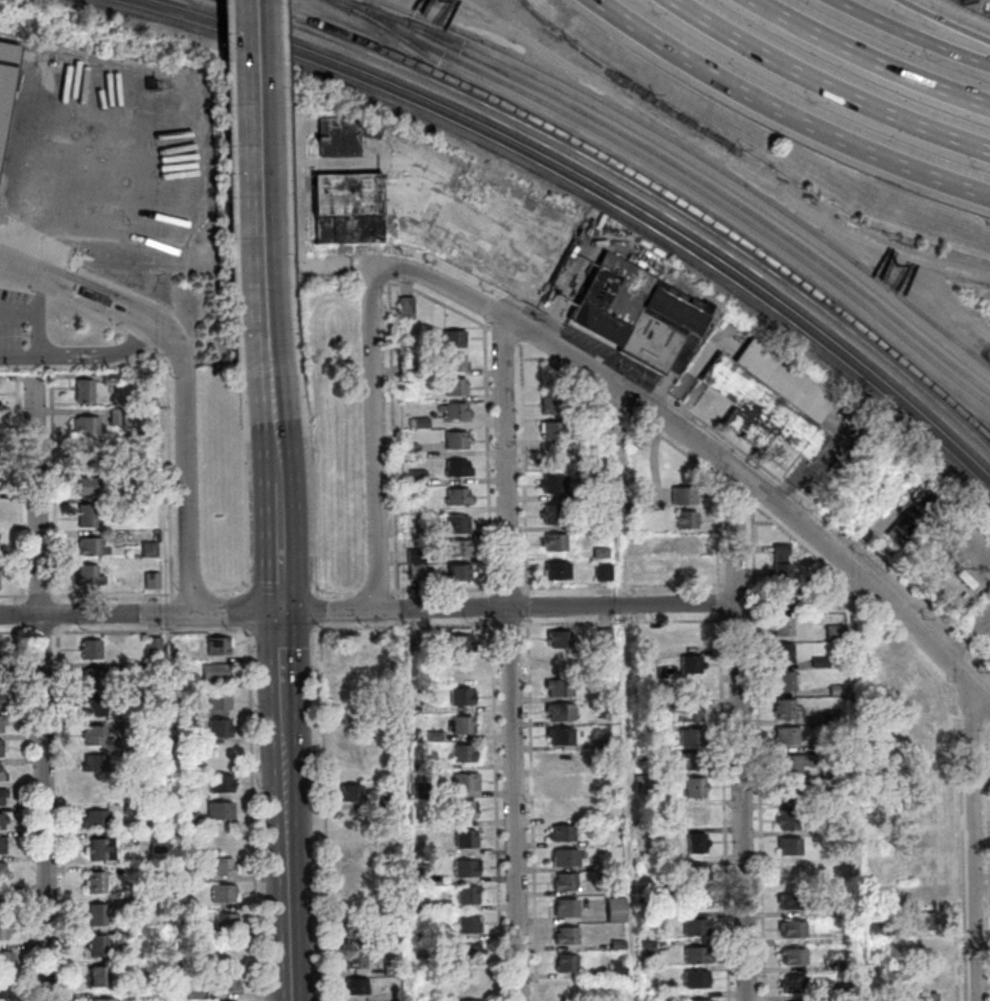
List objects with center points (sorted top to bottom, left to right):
road: (954, 18)
road: (924, 29)
road: (876, 58)
building: (5, 76)
road: (836, 82)
railway: (414, 94)
road: (795, 105)
building: (339, 137)
railway: (699, 156)
railway: (684, 158)
road: (751, 171)
railway: (676, 175)
railway: (694, 175)
railway: (639, 177)
railway: (630, 182)
railway: (617, 187)
railway: (581, 188)
railway: (682, 192)
building: (348, 197)
road: (260, 200)
road: (29, 270)
road: (112, 291)
building: (612, 303)
building: (407, 311)
road: (99, 312)
road: (37, 320)
building: (663, 337)
road: (166, 338)
building: (452, 343)
railway: (832, 343)
road: (101, 354)
road: (20, 358)
building: (451, 367)
building: (111, 381)
road: (615, 387)
building: (456, 391)
building: (85, 394)
building: (770, 402)
building: (552, 409)
building: (600, 413)
building: (457, 415)
building: (120, 419)
building: (423, 425)
building: (87, 429)
building: (554, 434)
building: (598, 437)
road: (375, 438)
road: (272, 441)
building: (457, 444)
building: (85, 453)
building: (411, 453)
building: (458, 472)
building: (418, 480)
road: (184, 481)
building: (554, 488)
building: (89, 489)
building: (603, 494)
building: (685, 499)
building: (459, 501)
building: (411, 512)
building: (553, 518)
building: (88, 519)
building: (688, 524)
building: (915, 524)
building: (456, 528)
building: (0, 542)
building: (687, 543)
road: (278, 546)
building: (555, 546)
building: (93, 550)
building: (150, 552)
building: (459, 552)
building: (602, 555)
building: (782, 556)
building: (416, 558)
building: (688, 568)
building: (416, 575)
building: (558, 575)
building: (604, 575)
building: (459, 577)
building: (783, 577)
building: (89, 581)
building: (153, 584)
building: (787, 602)
road: (367, 610)
traffic signals: (280, 612)
building: (784, 629)
building: (690, 634)
building: (836, 636)
building: (605, 638)
building: (561, 642)
building: (463, 643)
building: (219, 644)
building: (153, 645)
building: (91, 648)
building: (1, 650)
building: (347, 654)
building: (784, 656)
road: (509, 659)
building: (639, 661)
road: (281, 662)
building: (385, 662)
building: (559, 663)
building: (821, 665)
building: (692, 667)
building: (462, 668)
building: (896, 671)
building: (1, 672)
building: (215, 672)
building: (93, 676)
building: (187, 681)
building: (349, 682)
building: (786, 683)
road: (39, 688)
building: (560, 691)
building: (839, 691)
road: (624, 694)
building: (461, 696)
building: (0, 698)
building: (130, 698)
building: (218, 699)
building: (919, 700)
building: (94, 706)
building: (187, 708)
building: (350, 710)
building: (786, 711)
building: (560, 715)
building: (691, 715)
building: (835, 719)
building: (2, 720)
building: (463, 725)
building: (130, 727)
building: (219, 727)
building: (921, 730)
building: (93, 734)
building: (642, 734)
road: (738, 735)
building: (434, 736)
building: (561, 738)
building: (788, 738)
building: (347, 739)
building: (691, 739)
building: (819, 747)
building: (1, 748)
building: (890, 751)
building: (463, 753)
building: (129, 754)
building: (220, 755)
building: (644, 758)
building: (560, 760)
building: (924, 761)
building: (94, 762)
building: (691, 764)
building: (351, 765)
building: (795, 765)
building: (1, 775)
building: (466, 781)
building: (220, 782)
building: (923, 782)
building: (560, 784)
road: (856, 785)
building: (645, 786)
building: (696, 791)
building: (350, 792)
building: (792, 793)
building: (2, 794)
building: (831, 799)
building: (389, 802)
building: (130, 809)
building: (923, 809)
building: (220, 810)
building: (464, 810)
building: (564, 812)
building: (696, 815)
building: (95, 818)
building: (3, 820)
building: (188, 820)
building: (351, 820)
building: (788, 823)
building: (832, 830)
building: (562, 837)
building: (923, 837)
road: (970, 837)
building: (225, 838)
building: (466, 839)
building: (2, 844)
building: (158, 845)
building: (697, 846)
building: (100, 848)
building: (350, 848)
building: (790, 849)
road: (286, 856)
building: (565, 860)
building: (925, 865)
building: (223, 866)
building: (465, 868)
building: (2, 871)
building: (353, 875)
building: (695, 875)
building: (191, 876)
building: (96, 882)
building: (566, 885)
building: (660, 891)
building: (224, 892)
building: (924, 892)
building: (467, 894)
building: (4, 901)
building: (696, 902)
building: (134, 903)
building: (420, 904)
building: (189, 905)
building: (355, 905)
building: (794, 905)
building: (566, 911)
building: (617, 912)
building: (96, 914)
building: (226, 920)
building: (648, 923)
building: (924, 923)
building: (468, 924)
building: (5, 929)
building: (355, 930)
building: (697, 930)
building: (875, 930)
building: (793, 932)
building: (120, 933)
building: (422, 935)
building: (566, 936)
building: (97, 945)
building: (617, 945)
building: (648, 949)
building: (226, 952)
building: (469, 952)
building: (6, 958)
building: (696, 958)
building: (794, 958)
building: (355, 962)
building: (566, 963)
building: (844, 966)
building: (617, 967)
building: (392, 969)
building: (99, 976)
building: (928, 977)
building: (471, 980)
building: (696, 980)
building: (225, 981)
building: (355, 987)
building: (794, 987)
building: (5, 988)
building: (567, 990)
building: (844, 990)
building: (194, 993)
building: (130, 996)
building: (664, 996)
building: (929, 997)
building: (100, 1000)
building: (472, 1000)
building: (698, 1000)

